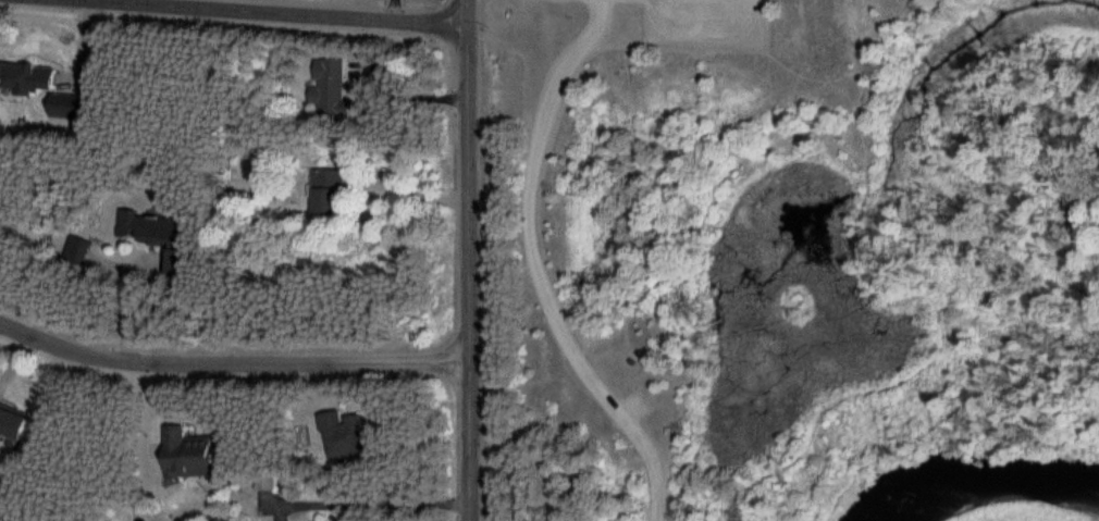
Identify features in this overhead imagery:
road: (302, 11)
parking lot: (706, 22)
road: (709, 25)
building: (27, 78)
building: (329, 87)
building: (63, 107)
building: (328, 193)
building: (149, 228)
building: (77, 250)
road: (470, 260)
park: (785, 260)
road: (538, 269)
road: (233, 360)
building: (630, 360)
building: (12, 421)
building: (343, 435)
building: (187, 454)
river: (992, 488)
road: (375, 504)

